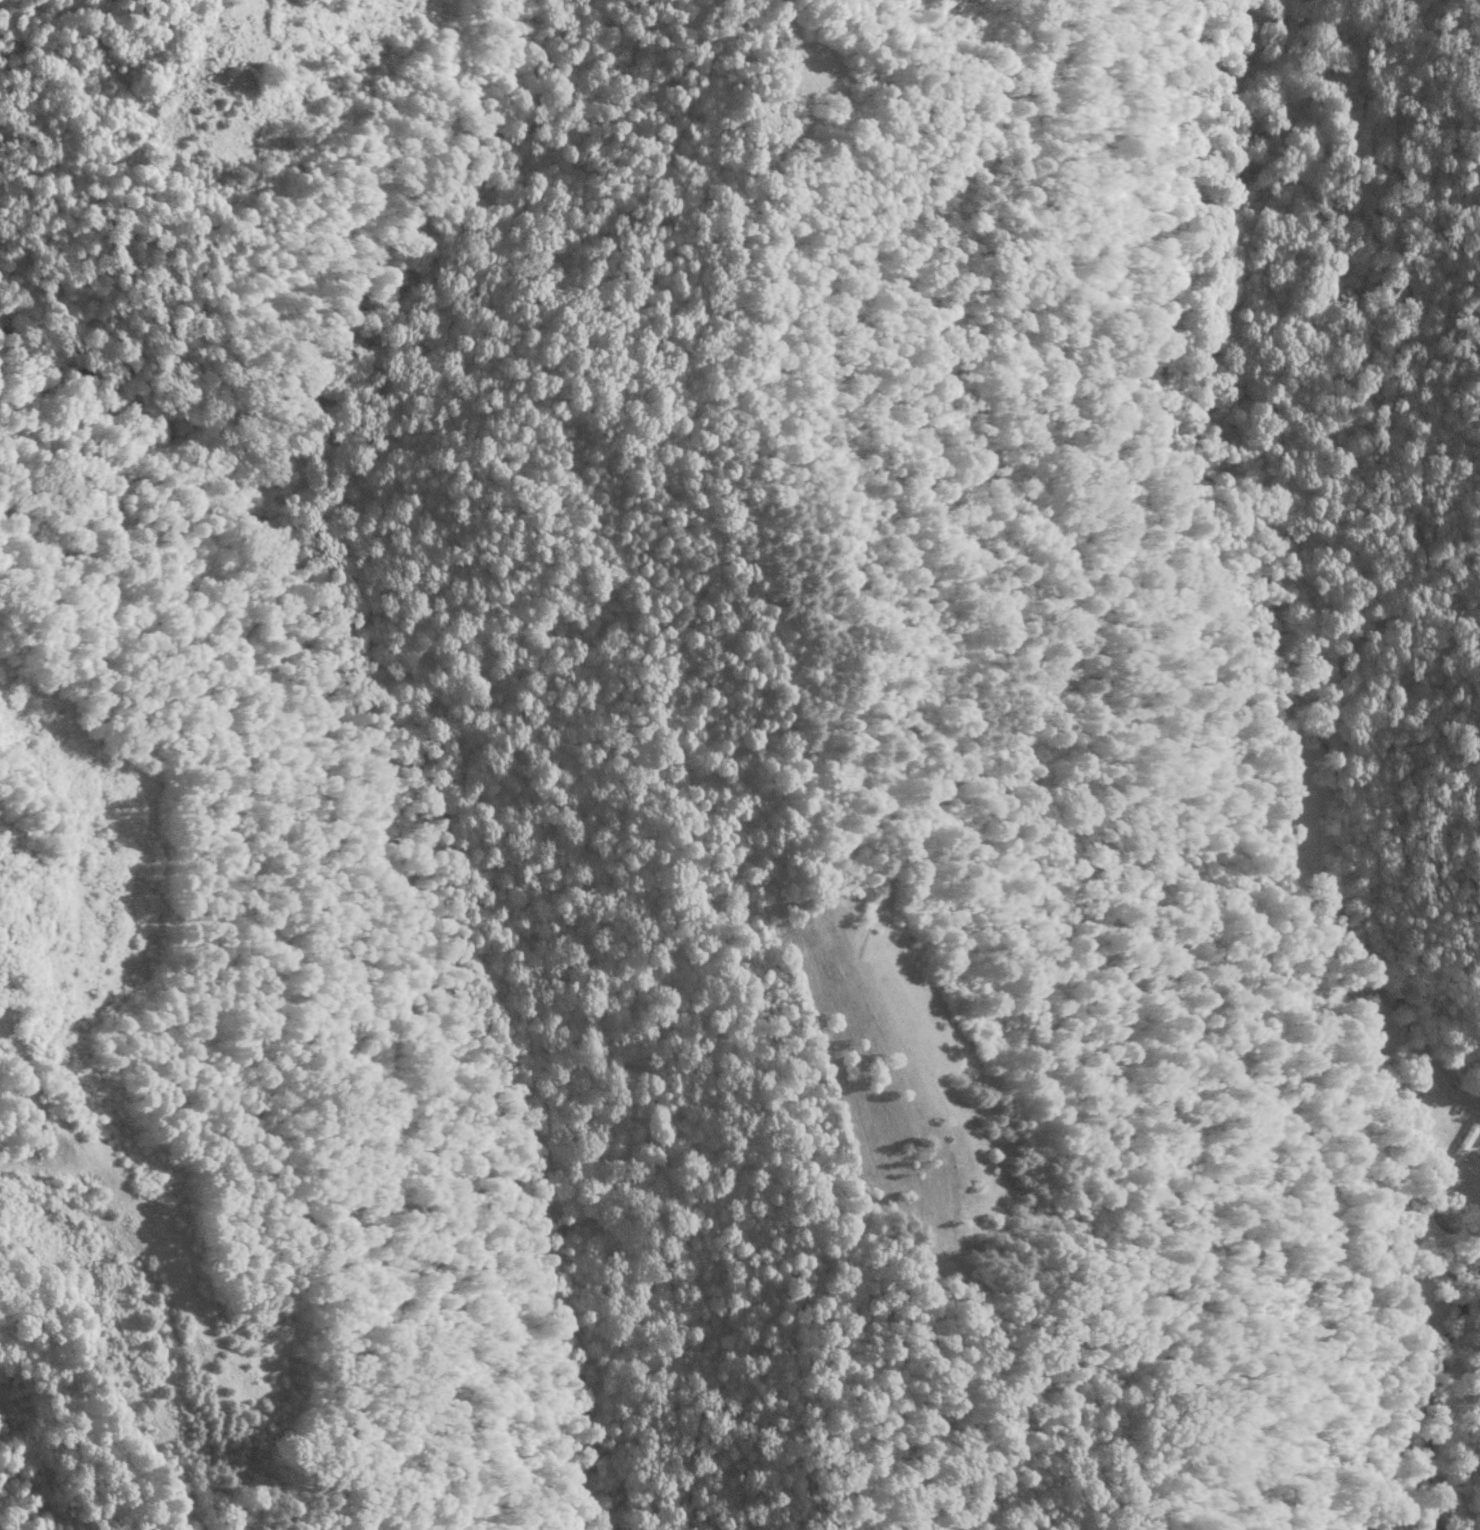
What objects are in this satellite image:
building: (1467, 1140)
road: (1448, 1463)

